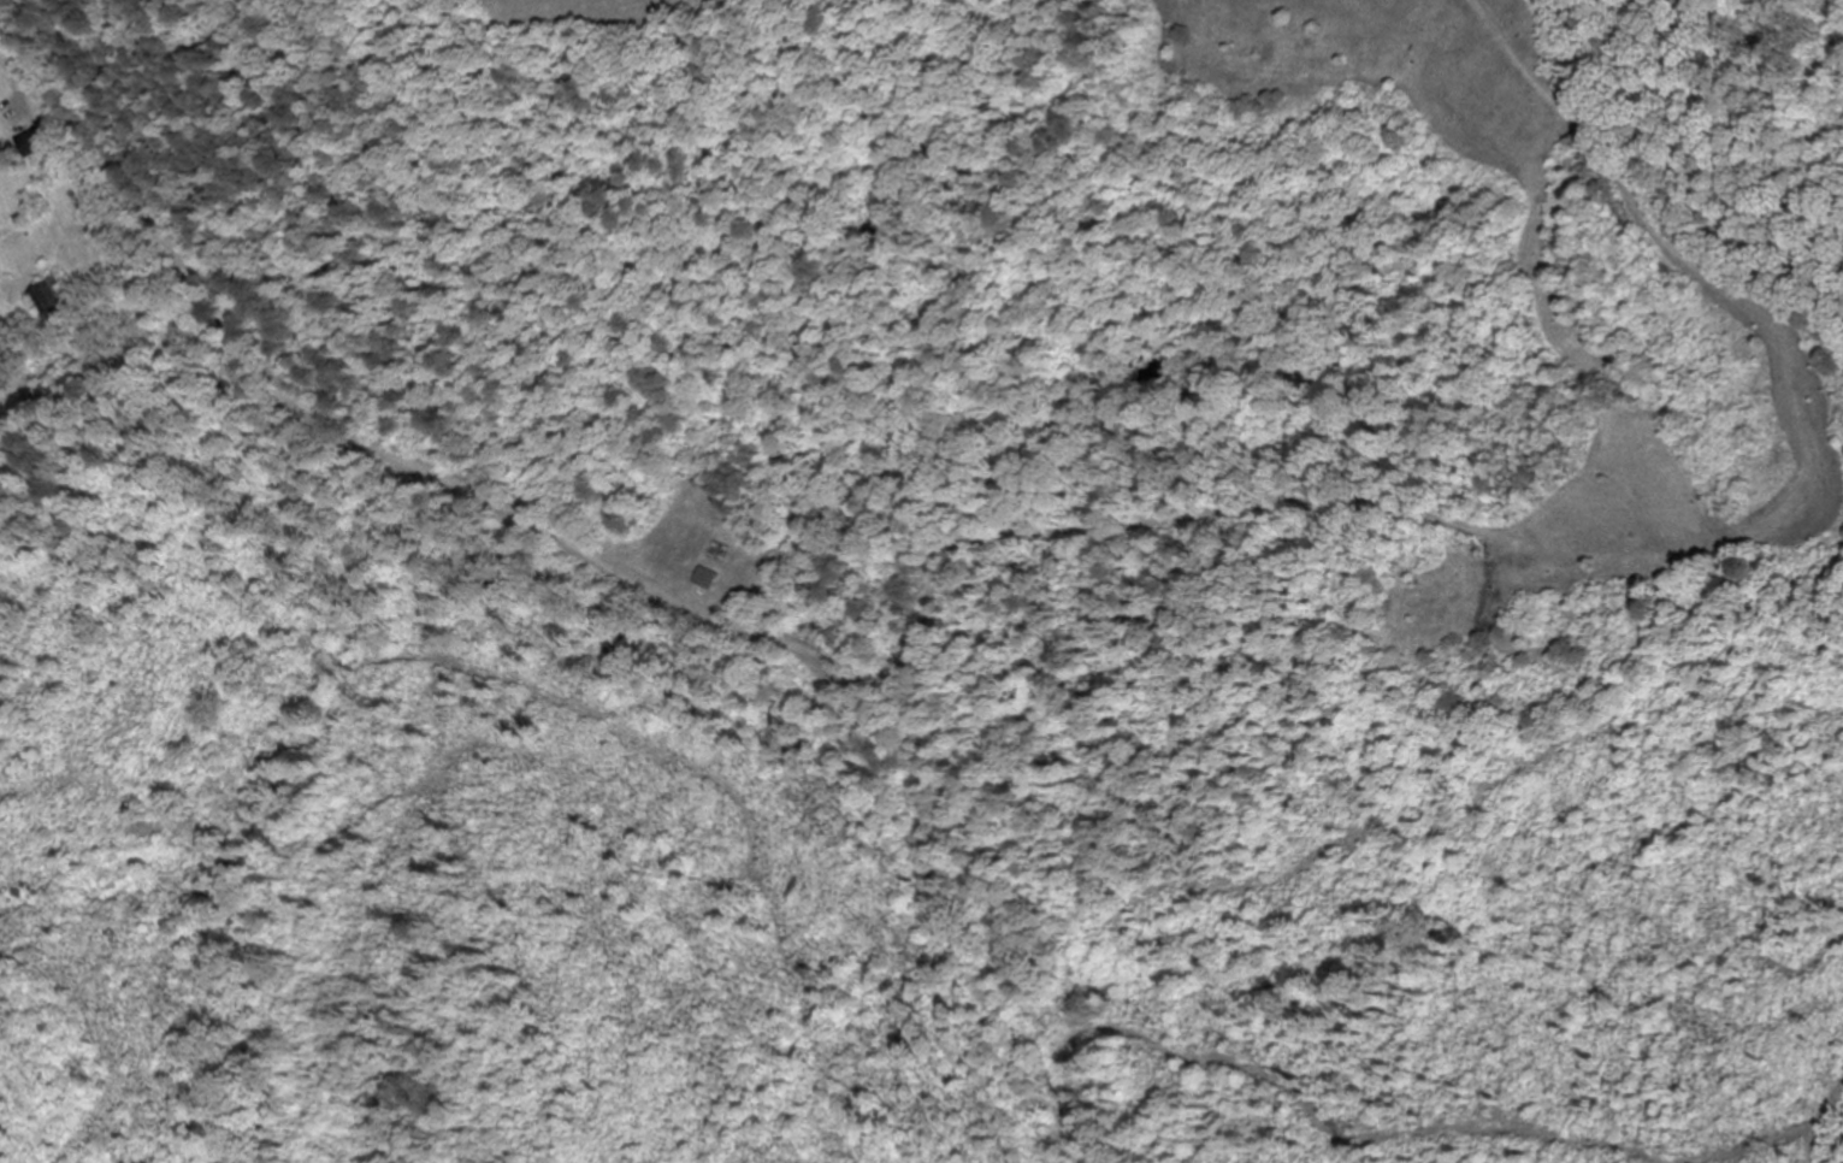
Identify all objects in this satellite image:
road: (8, 77)
building: (48, 297)
building: (5, 356)

